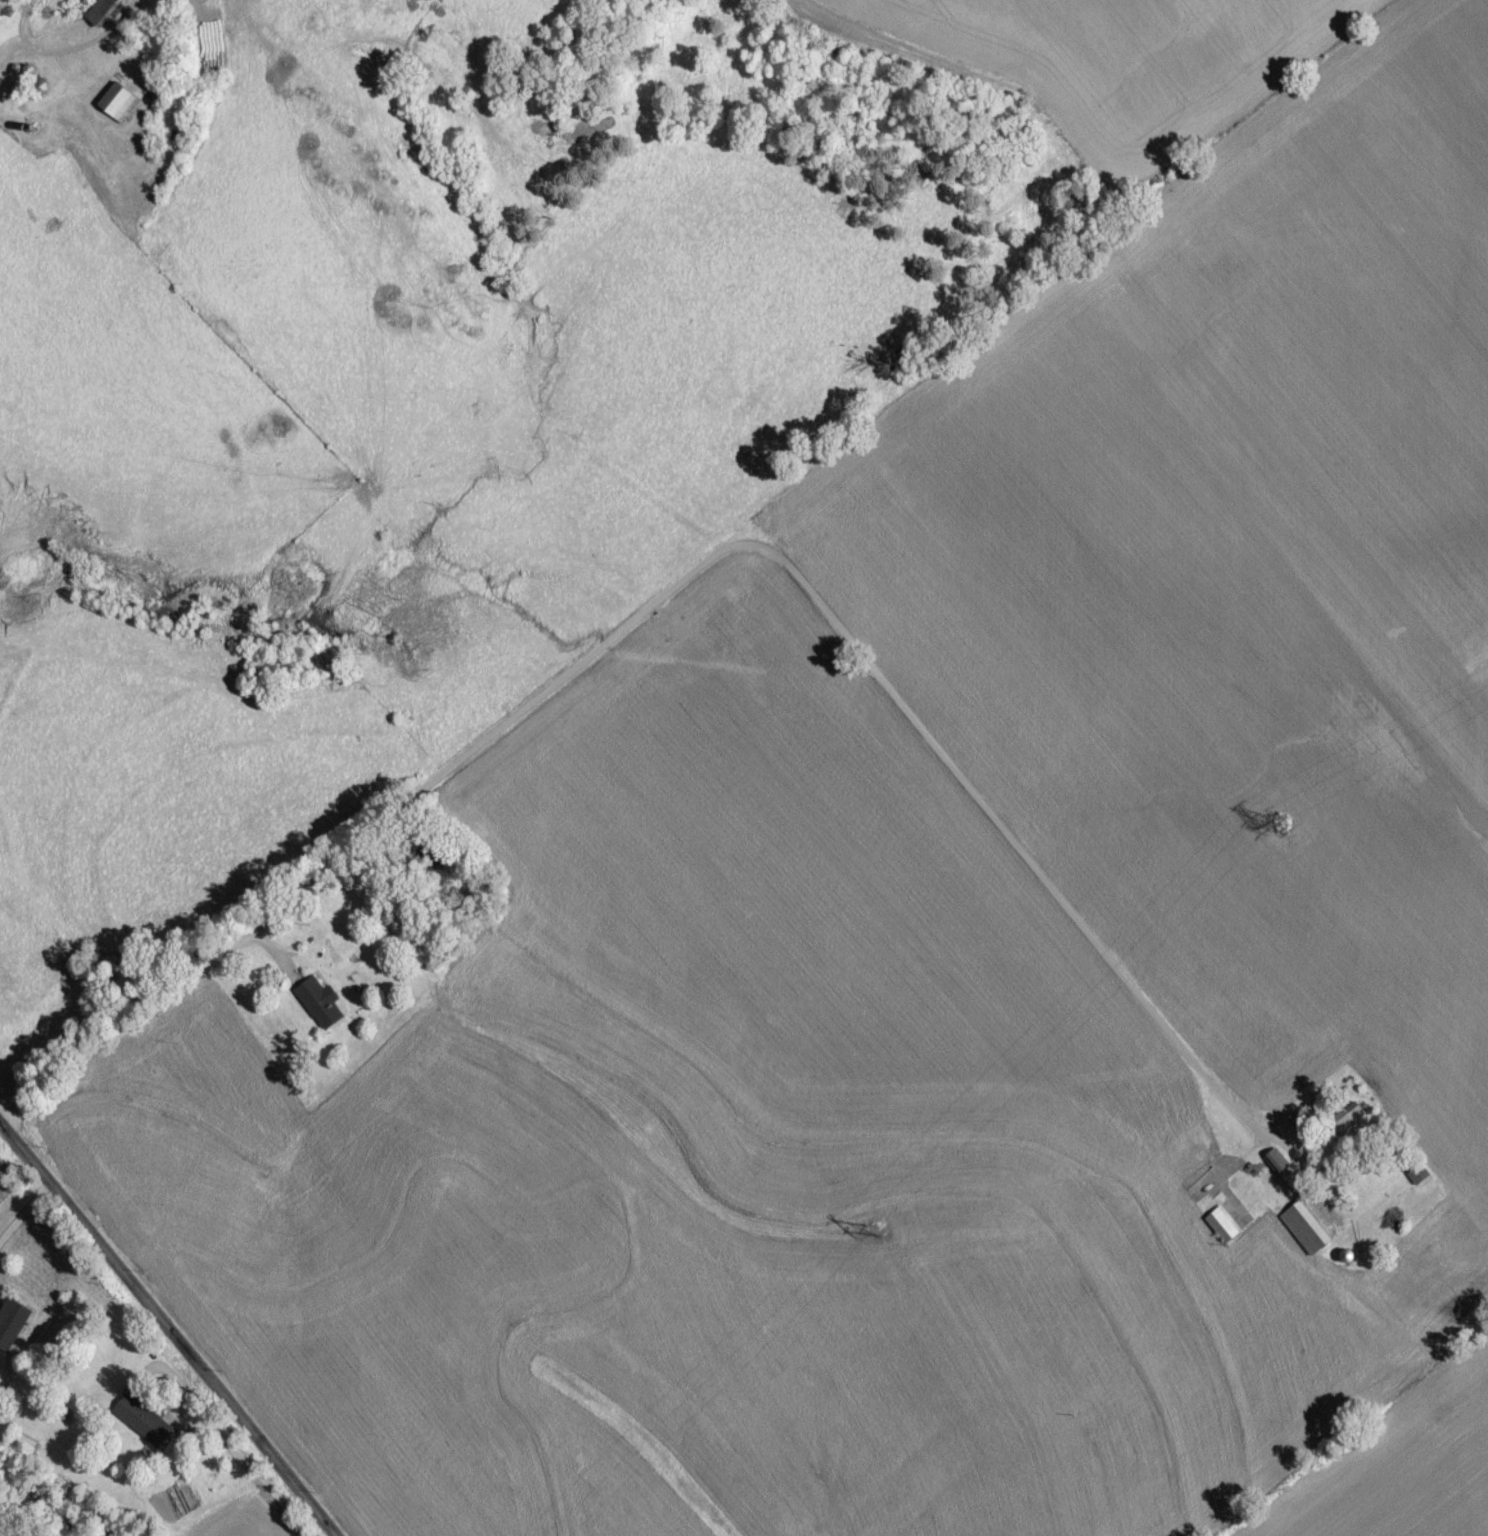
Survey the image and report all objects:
building: (104, 14)
road: (83, 44)
building: (119, 108)
road: (724, 552)
power tower: (1283, 829)
building: (319, 1008)
building: (1191, 1162)
building: (1275, 1169)
building: (1419, 1180)
road: (26, 1212)
building: (1224, 1230)
building: (1306, 1233)
power tower: (881, 1239)
road: (163, 1317)
building: (14, 1323)
building: (143, 1426)
building: (23, 1450)
road: (235, 1462)

